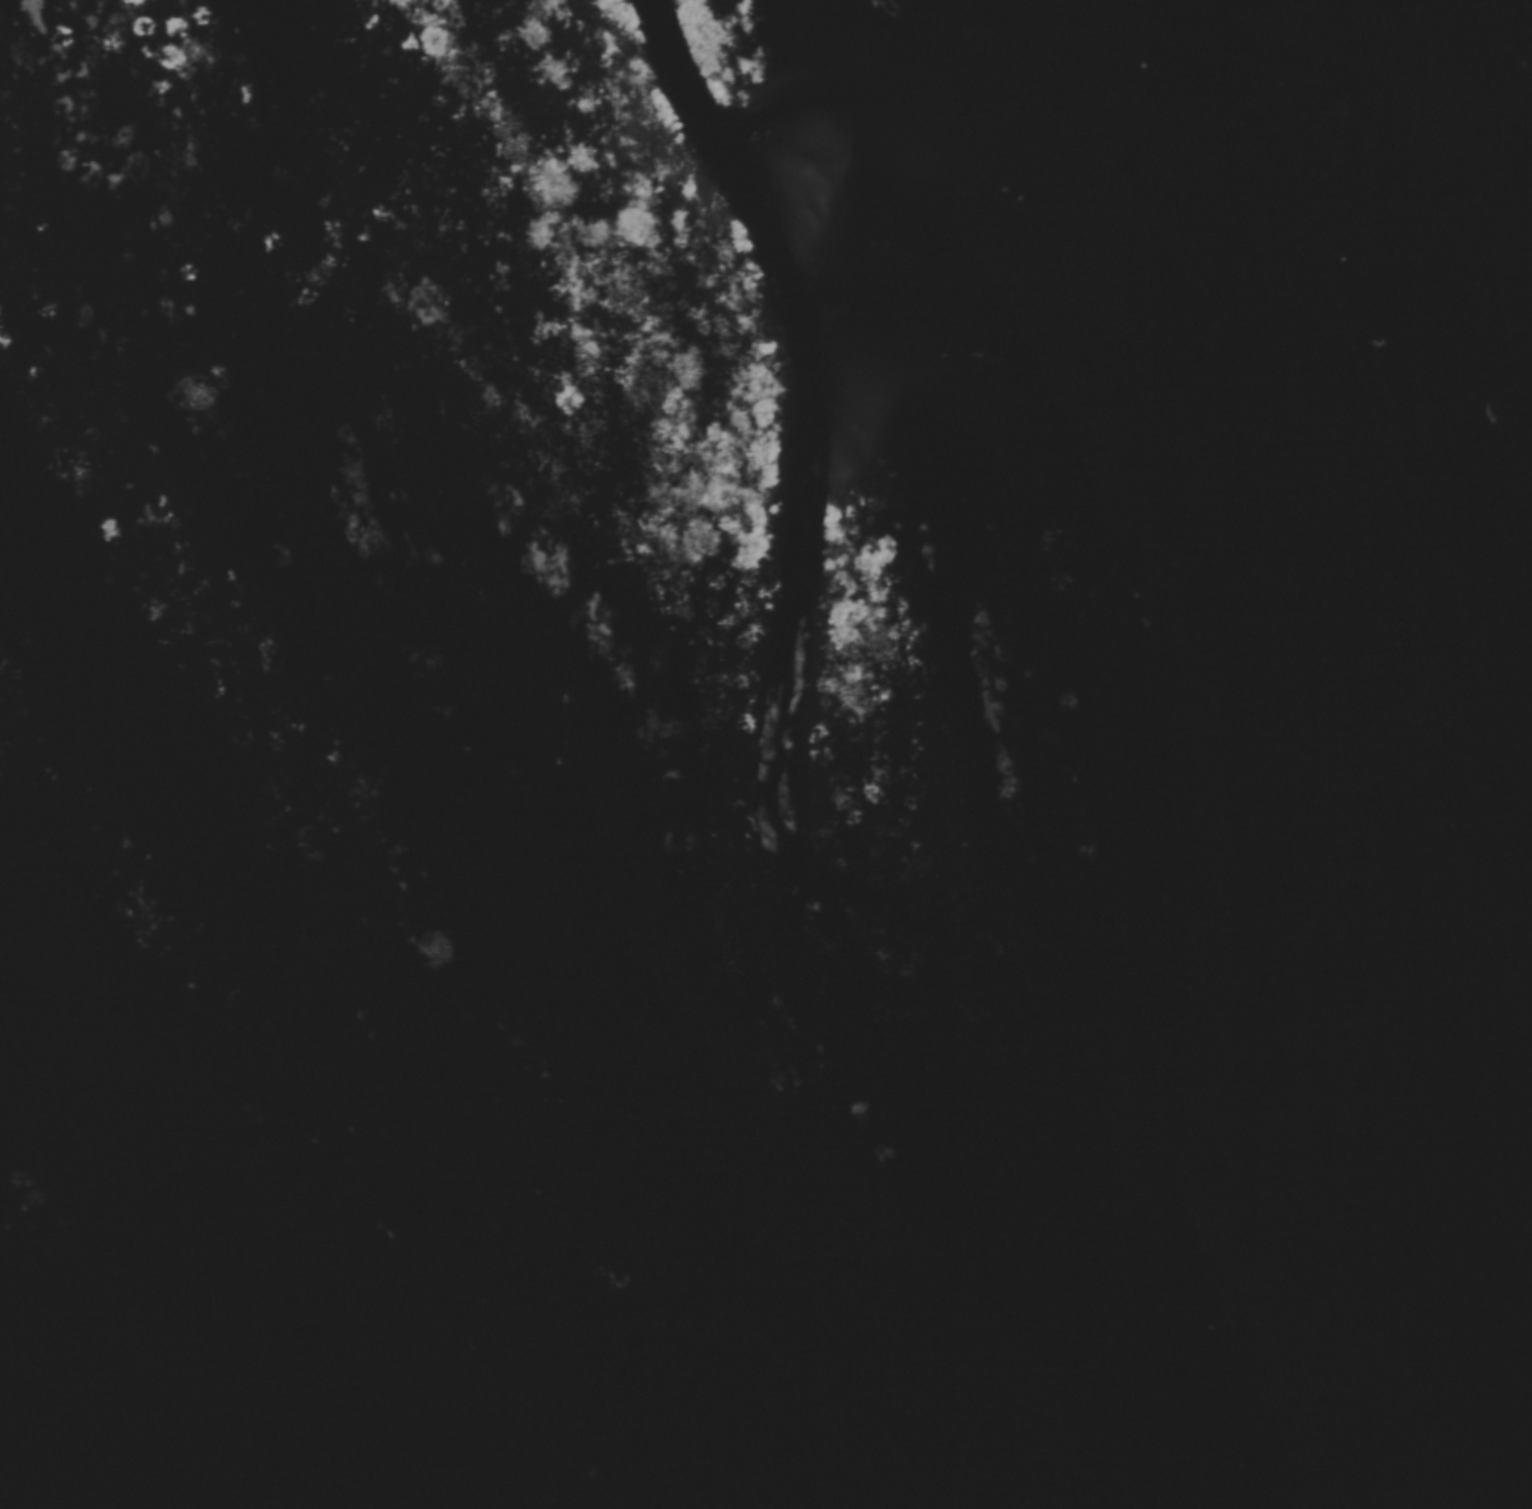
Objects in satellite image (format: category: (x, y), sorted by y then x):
river: (95, 1270)

